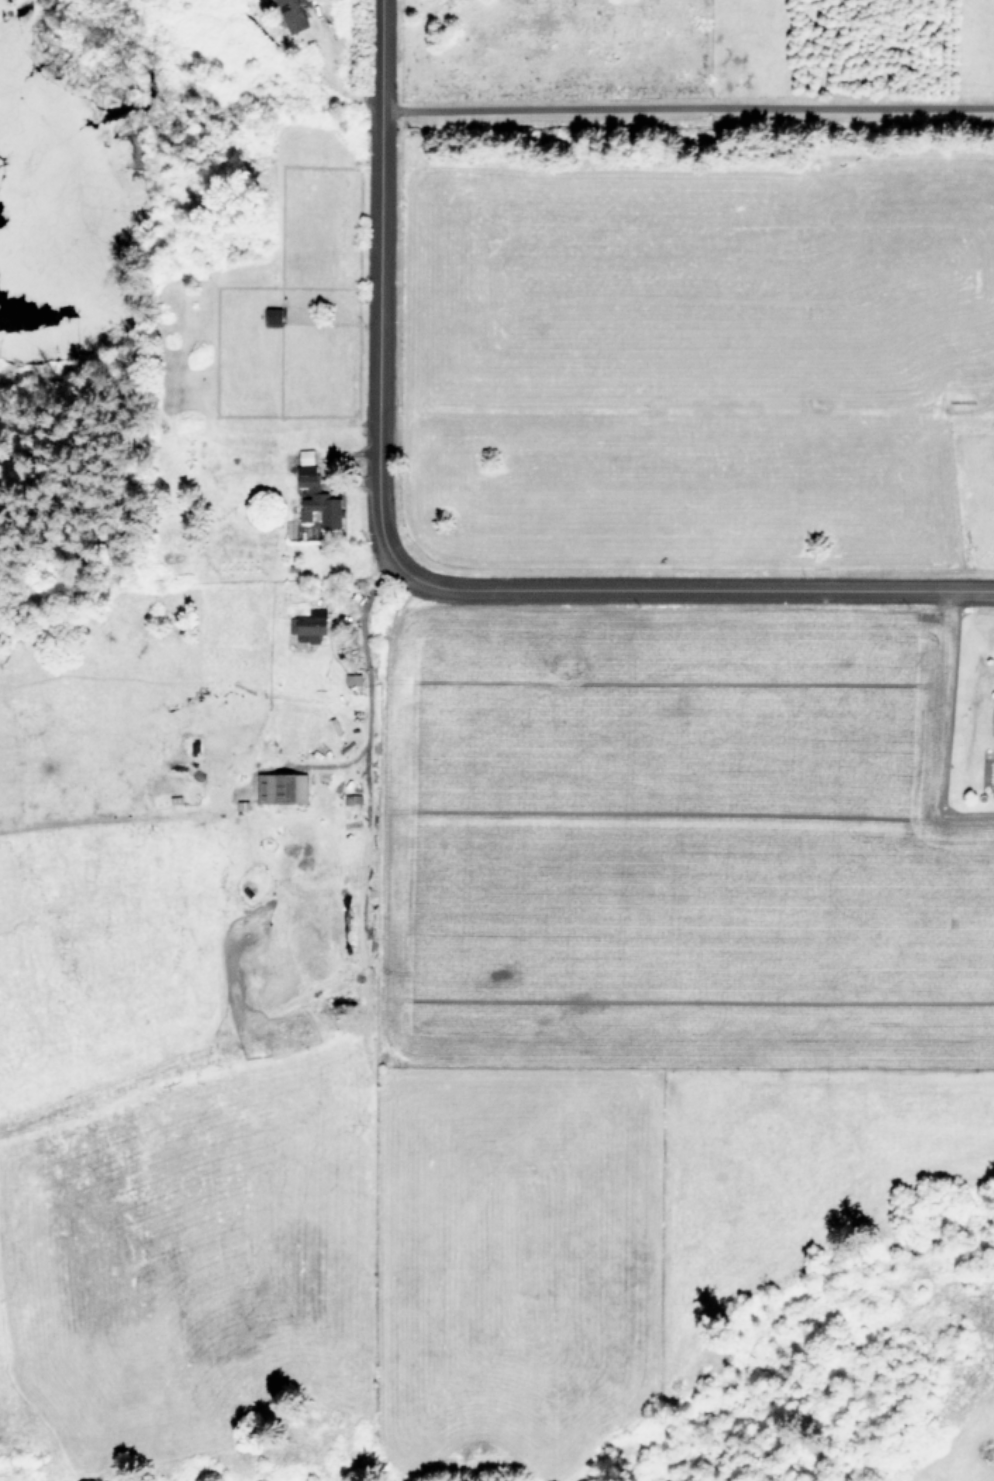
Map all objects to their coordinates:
building: (293, 14)
road: (689, 110)
building: (307, 456)
building: (319, 498)
road: (414, 568)
building: (311, 625)
road: (358, 660)
building: (287, 787)

